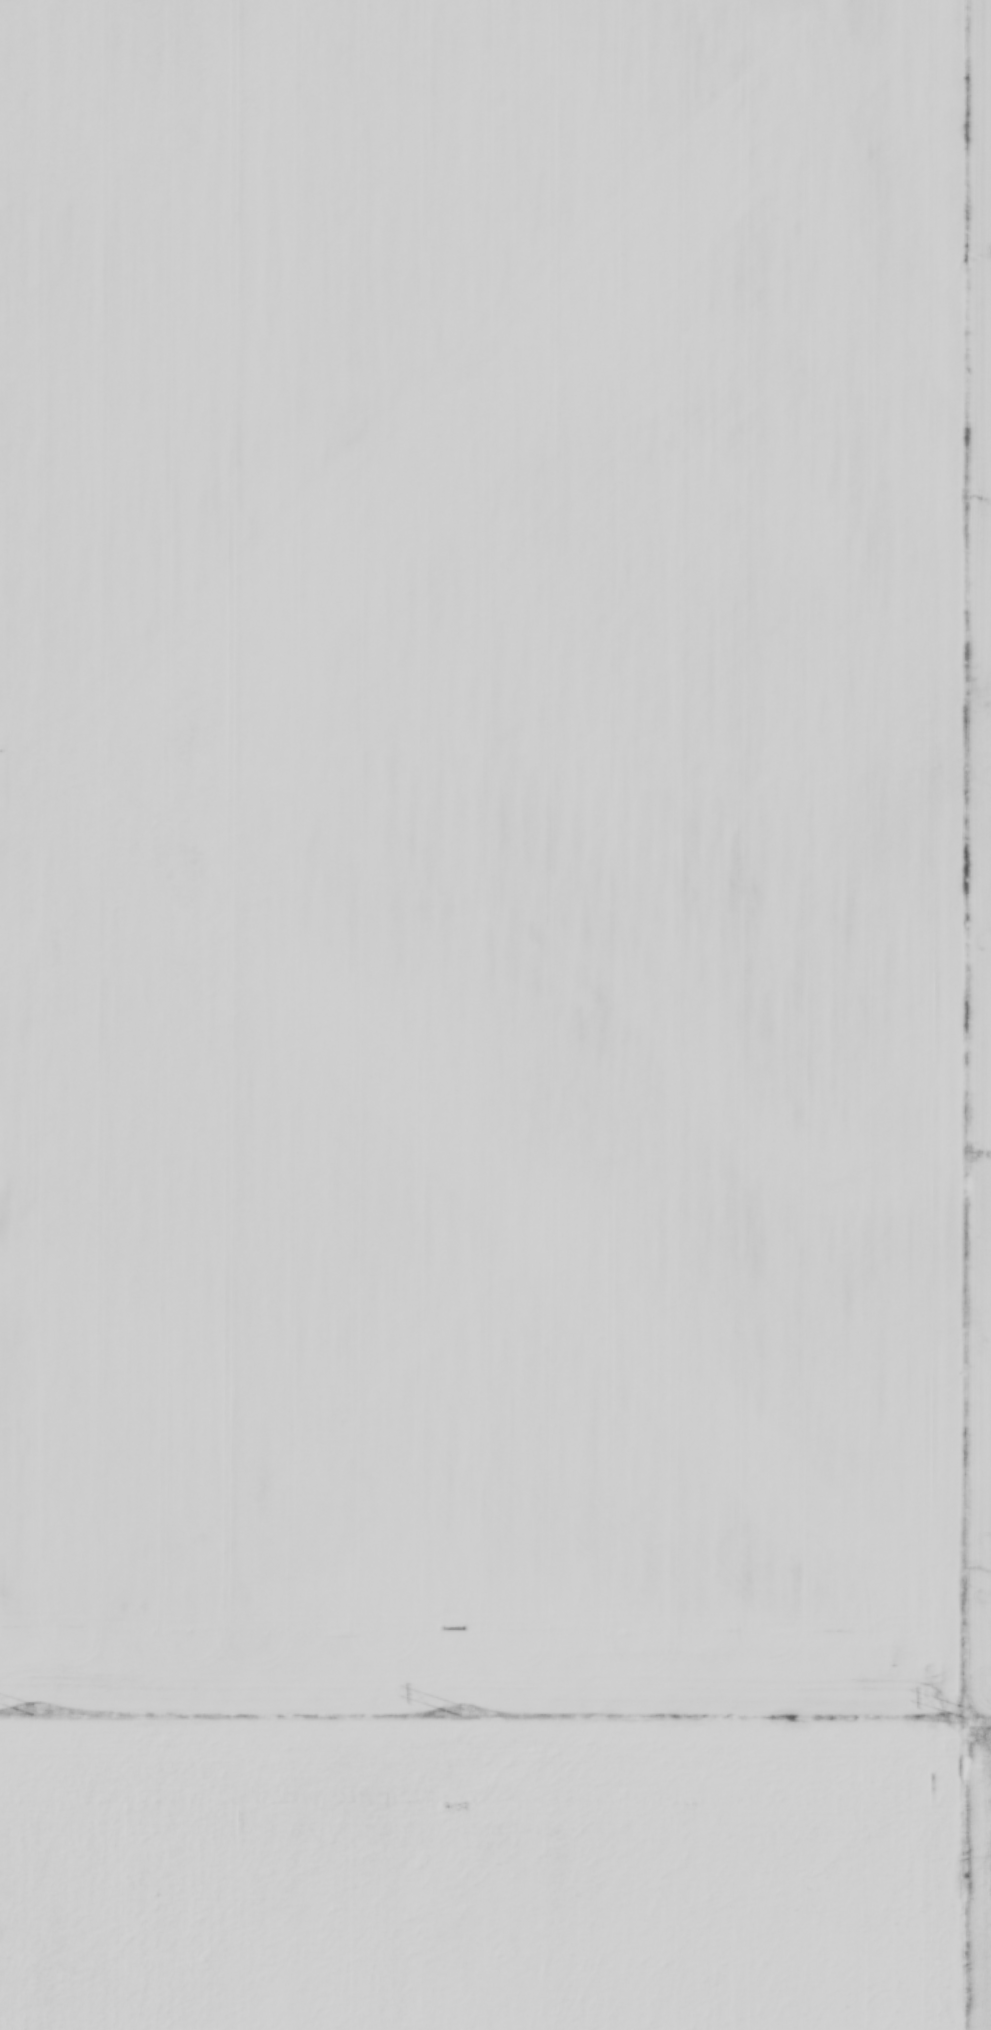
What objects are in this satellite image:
power tower: (462, 1713)
power tower: (33, 1714)
power tower: (965, 1719)

